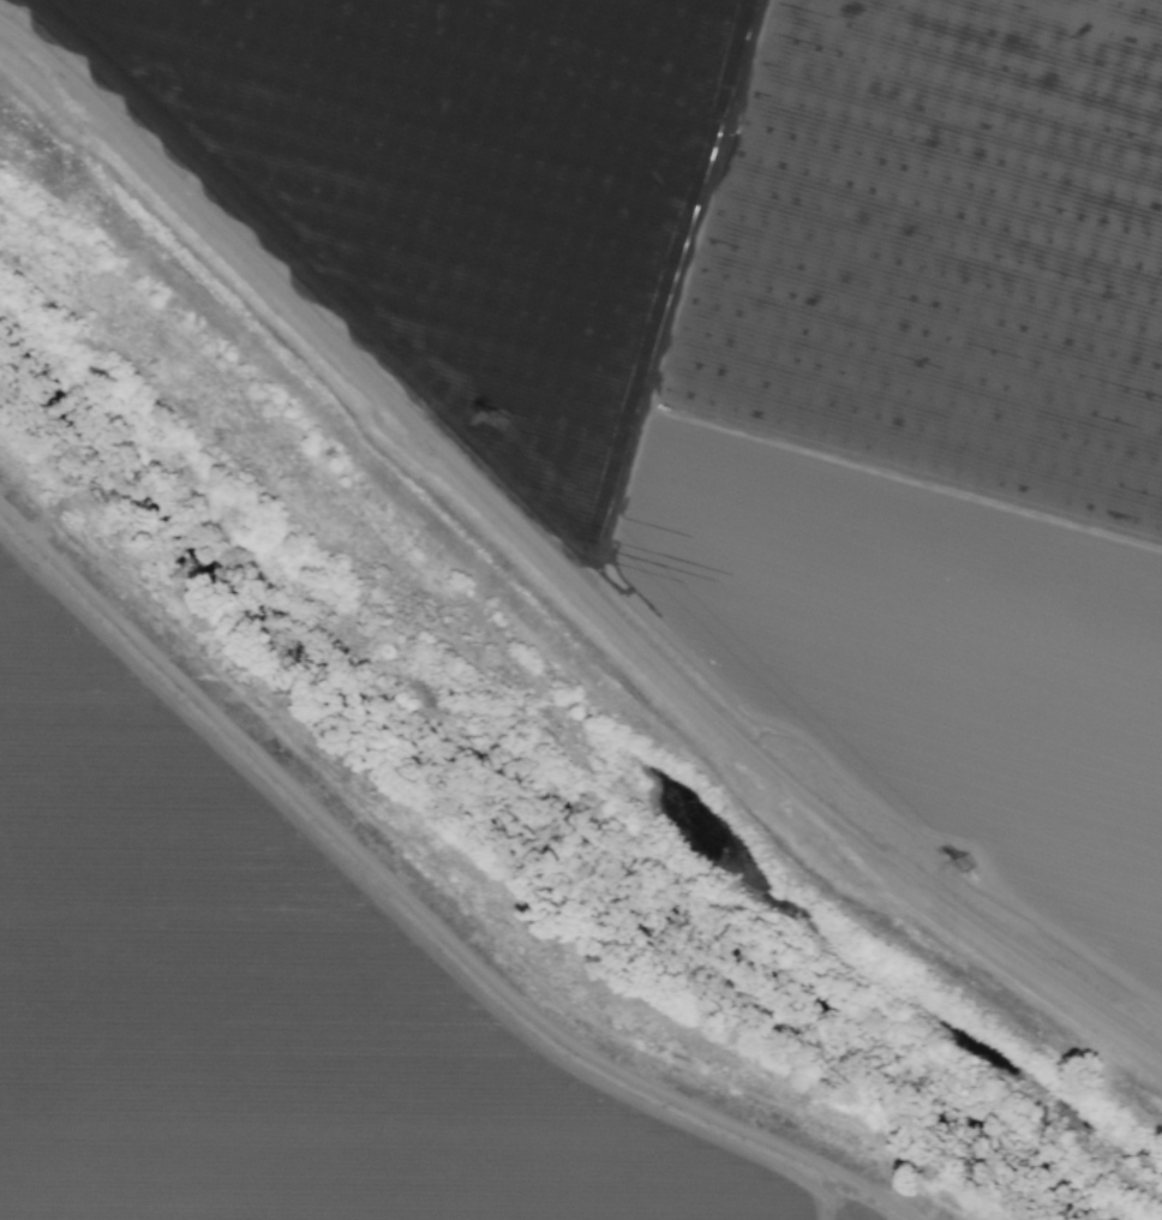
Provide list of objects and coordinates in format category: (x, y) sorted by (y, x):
crop: (813, 321)
power tower: (501, 417)
river: (519, 781)
power tower: (966, 863)
crop: (294, 988)

